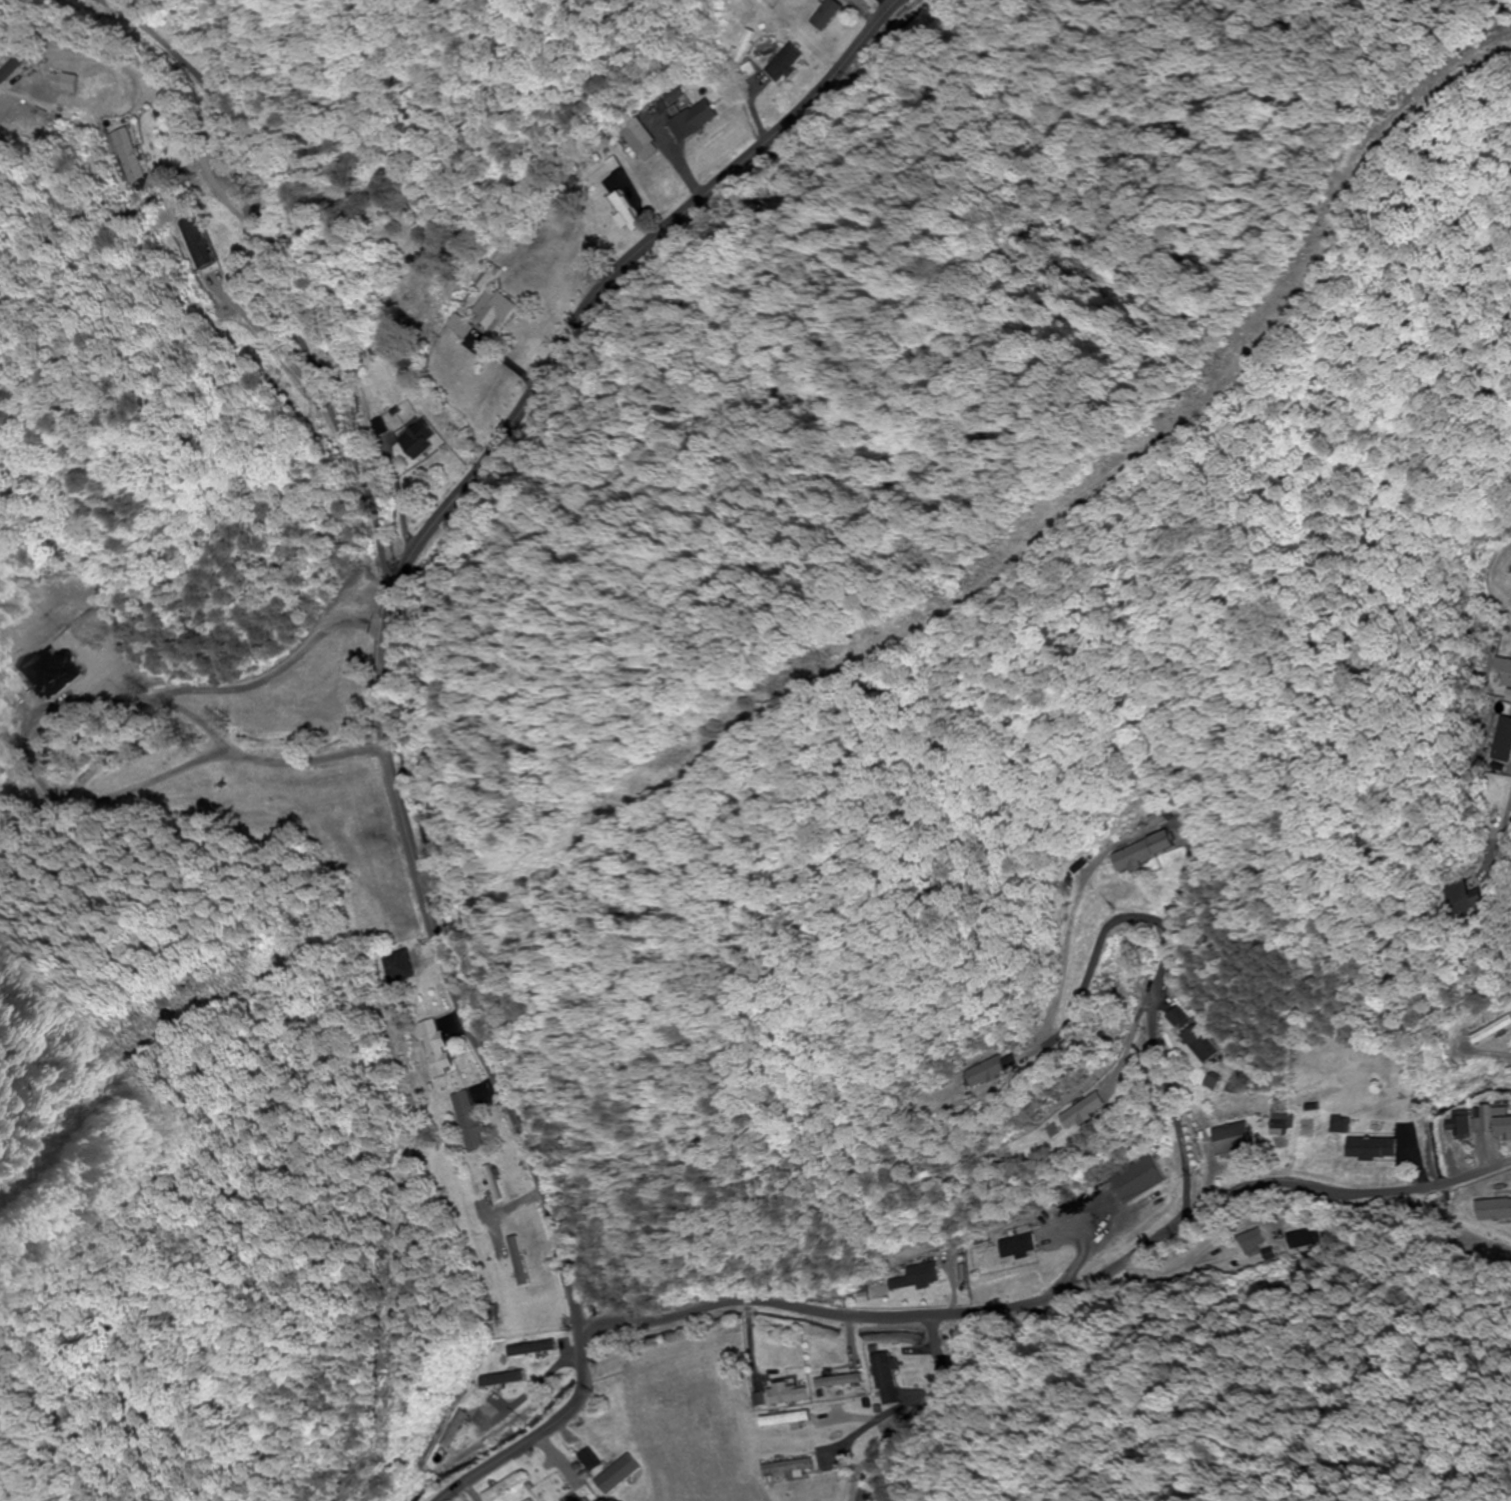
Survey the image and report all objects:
road: (879, 6)
building: (825, 16)
building: (783, 65)
building: (116, 90)
road: (176, 114)
building: (691, 122)
building: (635, 141)
building: (133, 163)
building: (623, 212)
building: (592, 226)
road: (271, 279)
building: (490, 309)
building: (456, 327)
road: (268, 335)
building: (377, 426)
building: (416, 440)
building: (1502, 672)
road: (380, 708)
building: (1499, 739)
building: (263, 773)
road: (1501, 830)
building: (1143, 852)
building: (1464, 900)
building: (396, 967)
building: (1174, 1018)
building: (1492, 1031)
building: (1198, 1044)
building: (433, 1048)
building: (985, 1073)
building: (1084, 1112)
building: (468, 1122)
building: (1481, 1122)
building: (1230, 1140)
building: (1372, 1148)
building: (1137, 1180)
building: (491, 1184)
building: (1493, 1209)
building: (1305, 1239)
building: (1253, 1241)
building: (1016, 1246)
building: (915, 1277)
building: (1020, 1287)
road: (1055, 1288)
building: (533, 1348)
building: (883, 1379)
building: (838, 1381)
building: (480, 1382)
building: (787, 1395)
road: (908, 1410)
building: (443, 1440)
building: (790, 1469)
building: (612, 1474)

